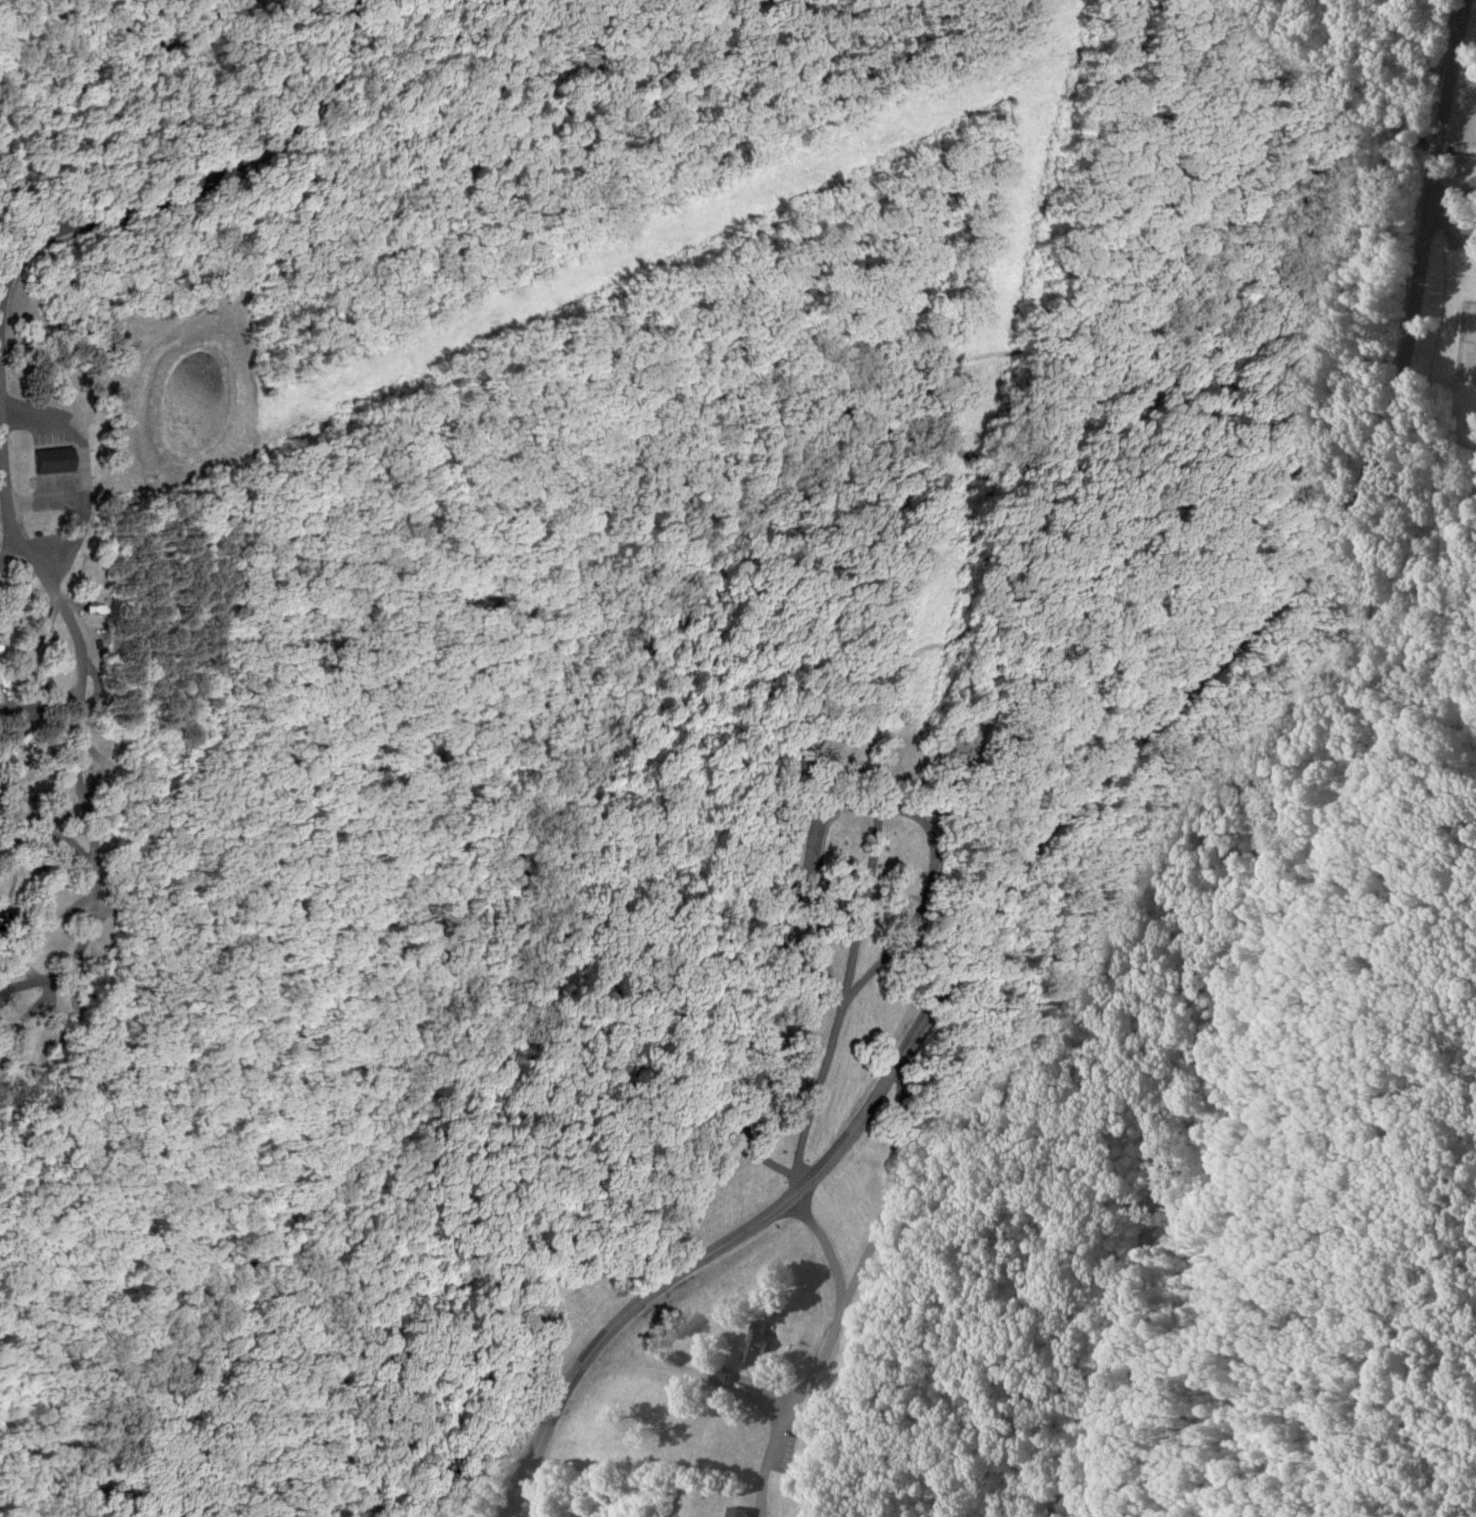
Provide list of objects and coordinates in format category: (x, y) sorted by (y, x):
road: (205, 184)
road: (1451, 198)
parking lot: (1462, 229)
park: (1469, 339)
road: (1316, 457)
building: (54, 460)
road: (53, 479)
road: (20, 586)
road: (165, 624)
road: (81, 691)
road: (40, 721)
park: (738, 758)
road: (1073, 802)
road: (21, 844)
road: (932, 852)
road: (1030, 880)
road: (36, 895)
road: (471, 920)
road: (212, 978)
road: (769, 1022)
road: (798, 1168)
road: (232, 1304)
building: (759, 1343)
building: (737, 1512)

